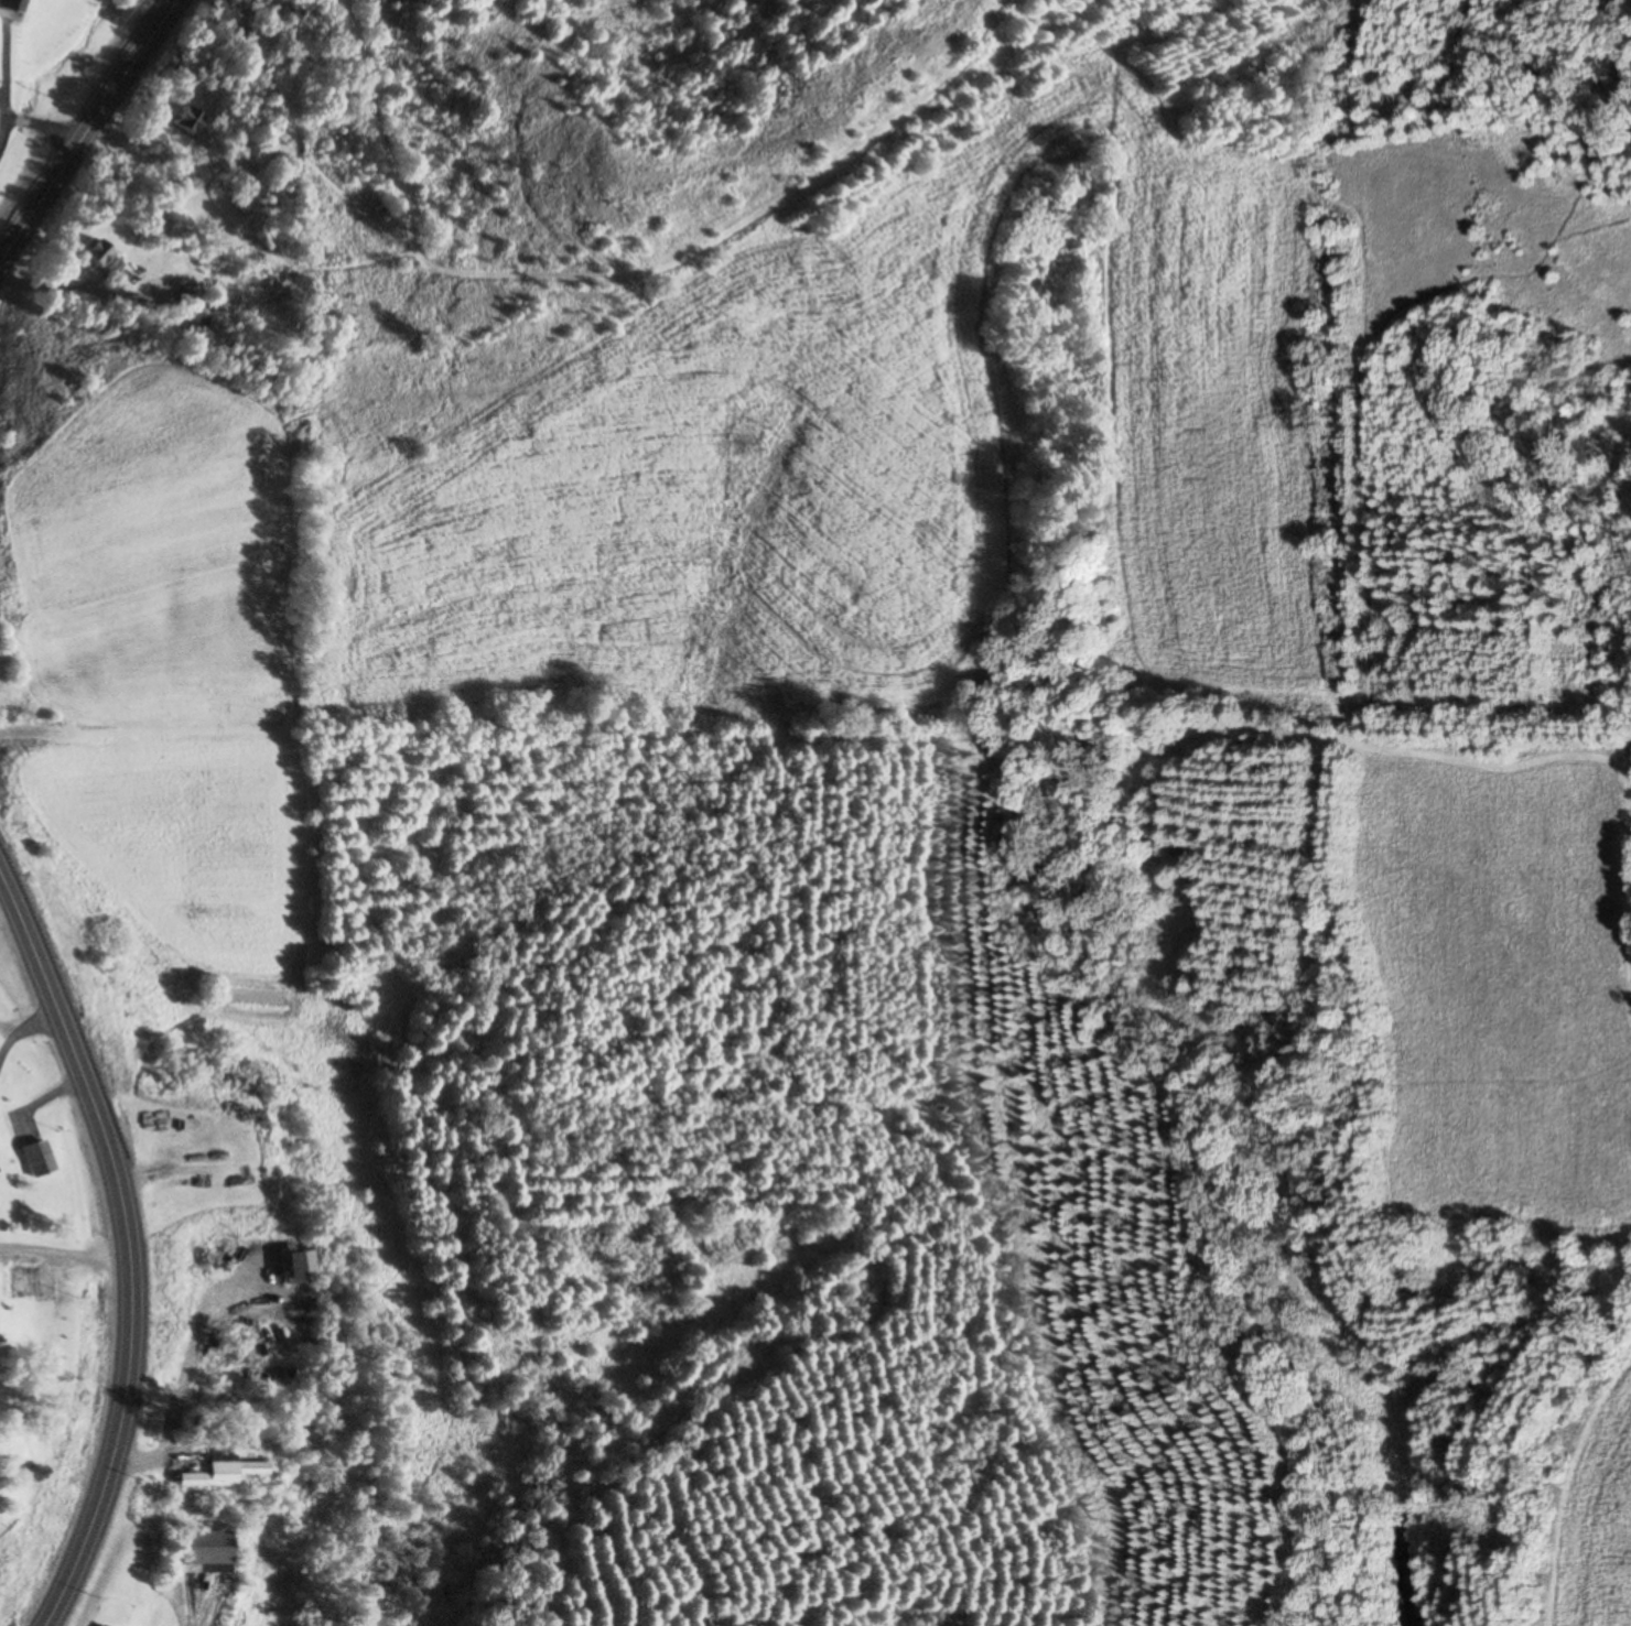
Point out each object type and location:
building: (7, 6)
building: (181, 120)
road: (86, 128)
building: (97, 259)
building: (34, 1159)
road: (62, 1248)
road: (123, 1254)
building: (23, 1281)
building: (213, 1302)
building: (215, 1472)
building: (201, 1551)
building: (97, 1625)

